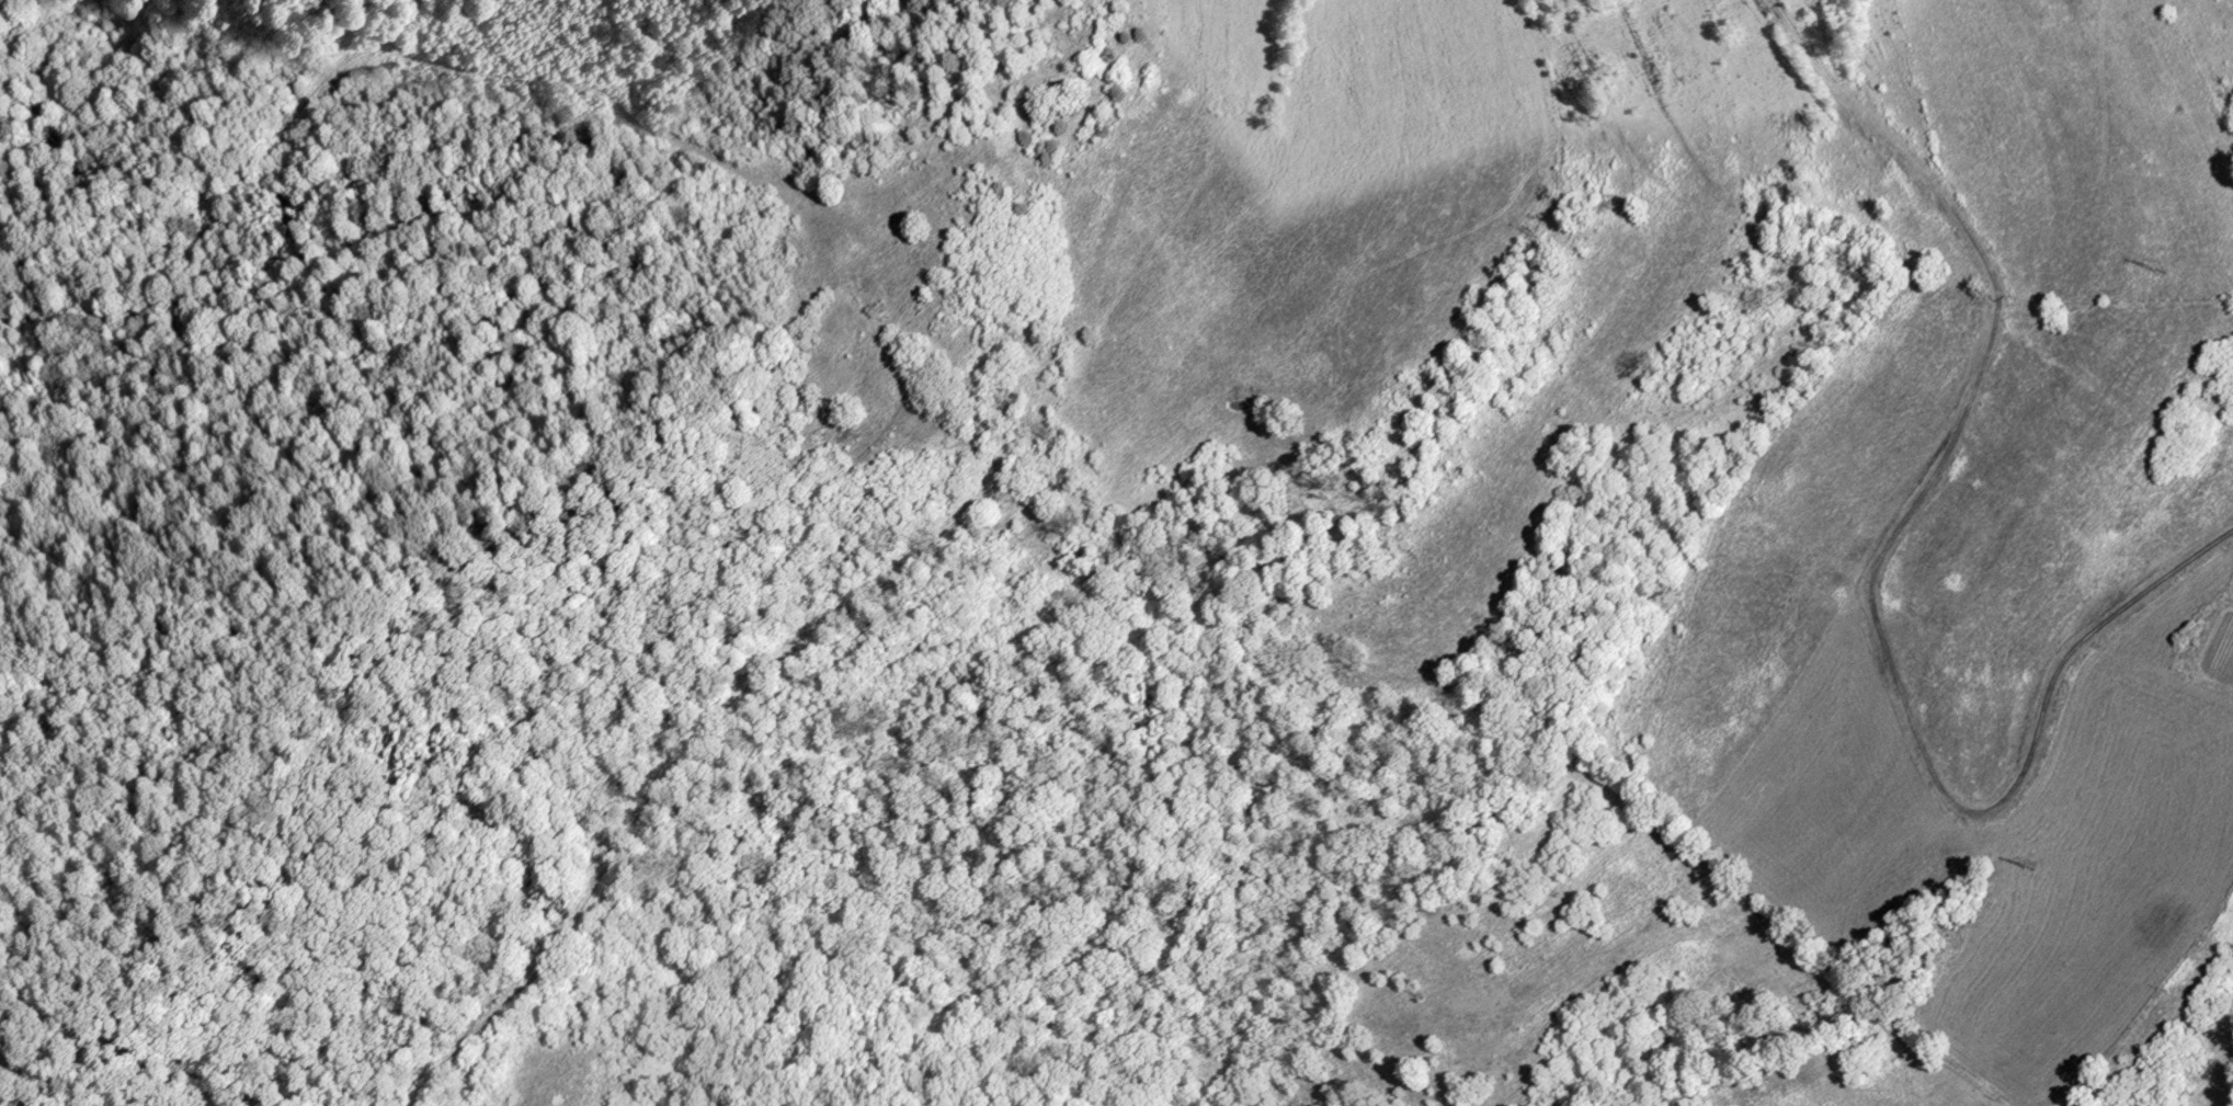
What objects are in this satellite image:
road: (1875, 566)

